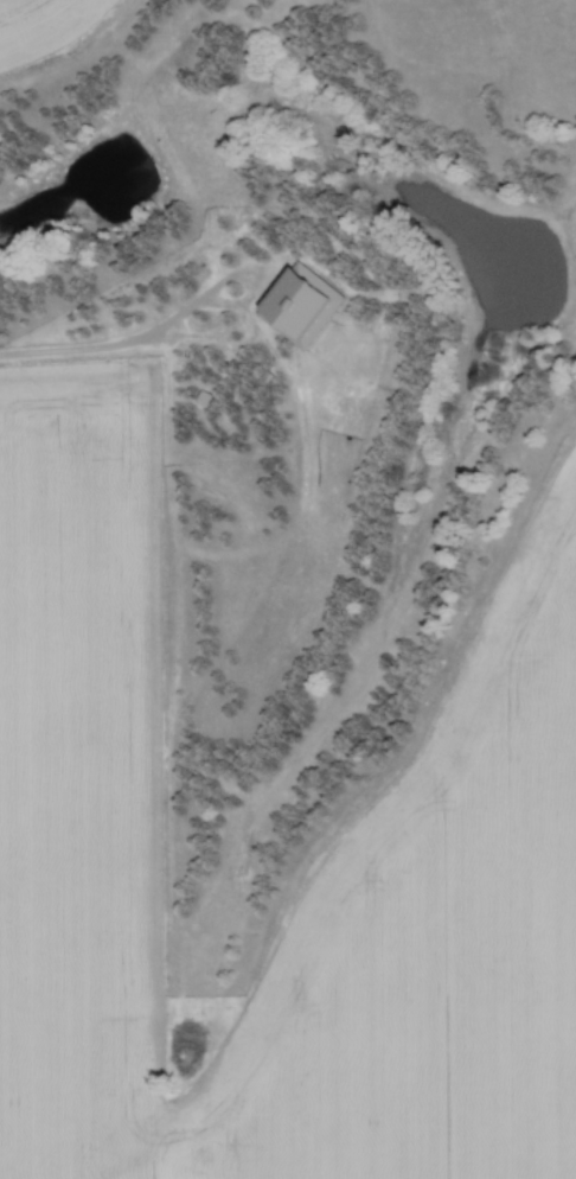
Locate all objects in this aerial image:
crop: (47, 27)
crop: (540, 59)

